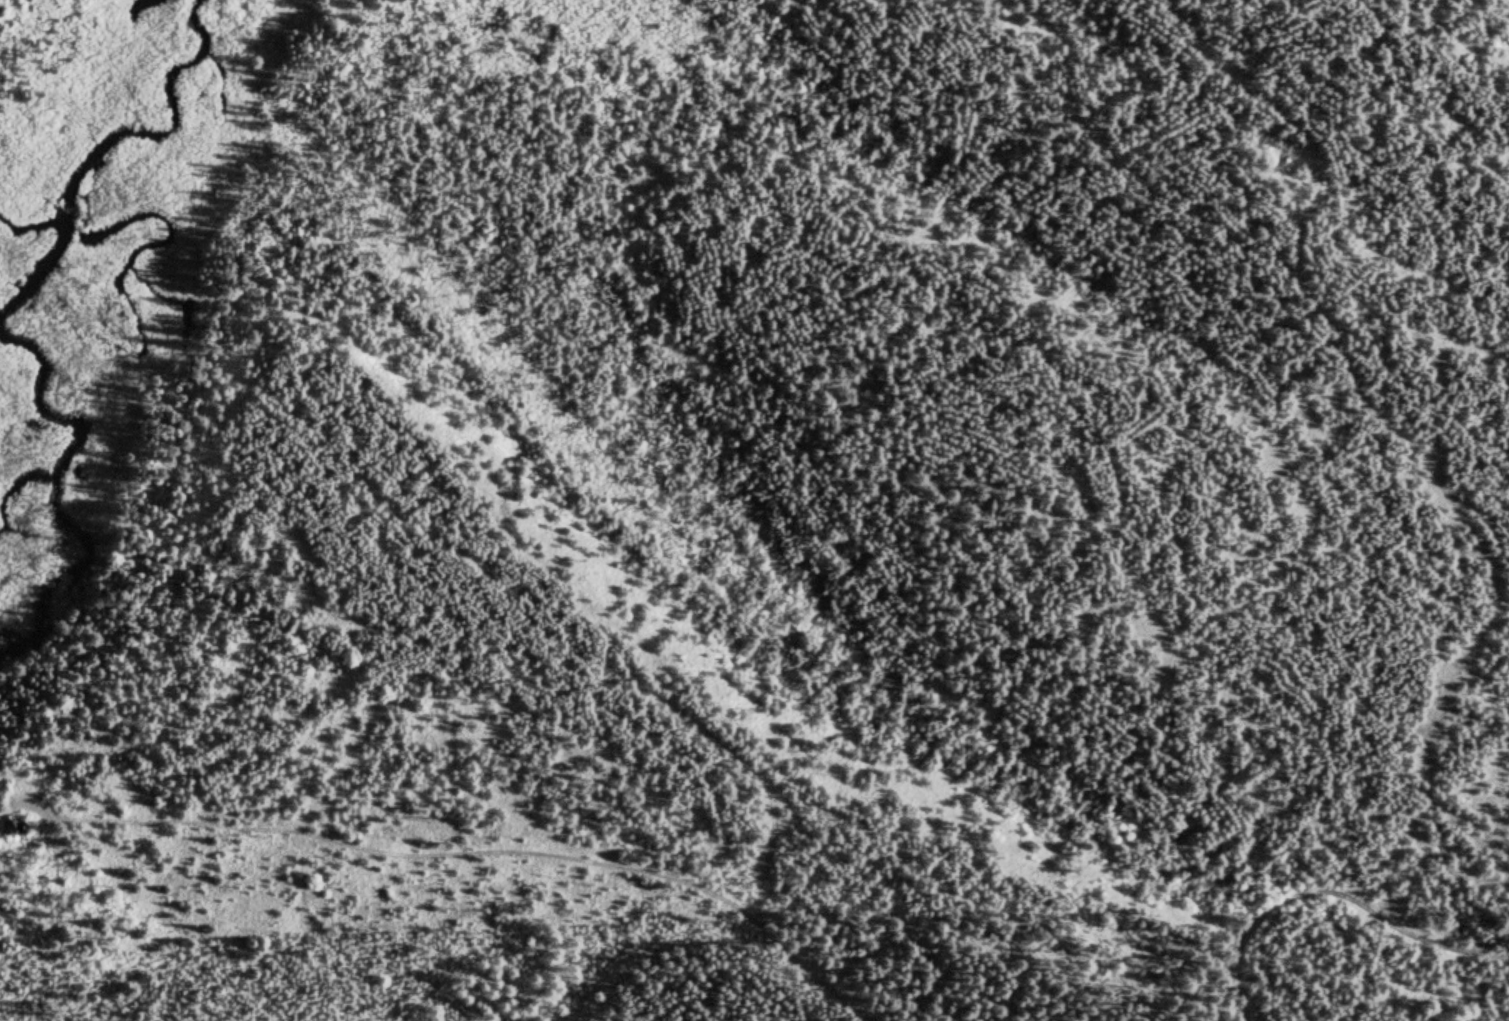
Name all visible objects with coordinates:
river: (27, 331)
road: (1408, 460)
building: (9, 828)
road: (459, 856)
road: (1333, 893)

